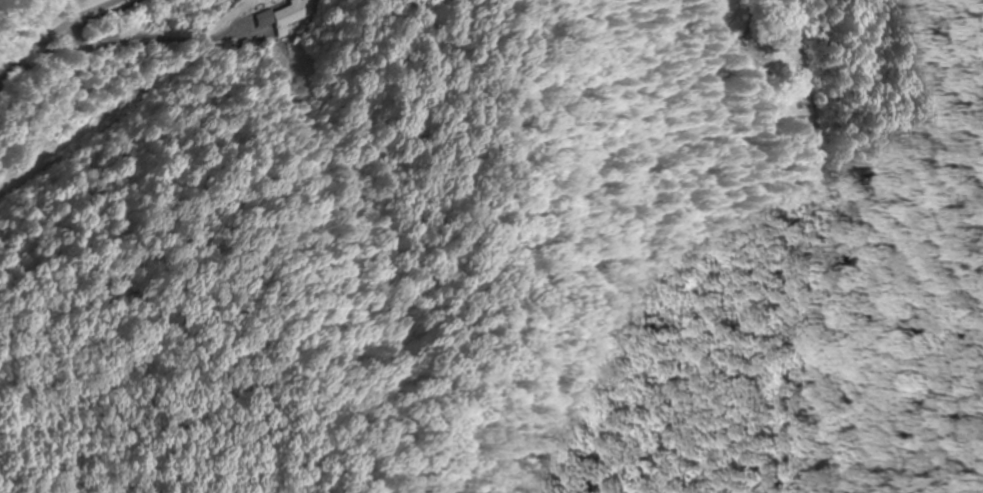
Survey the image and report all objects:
road: (11, 9)
building: (293, 14)

